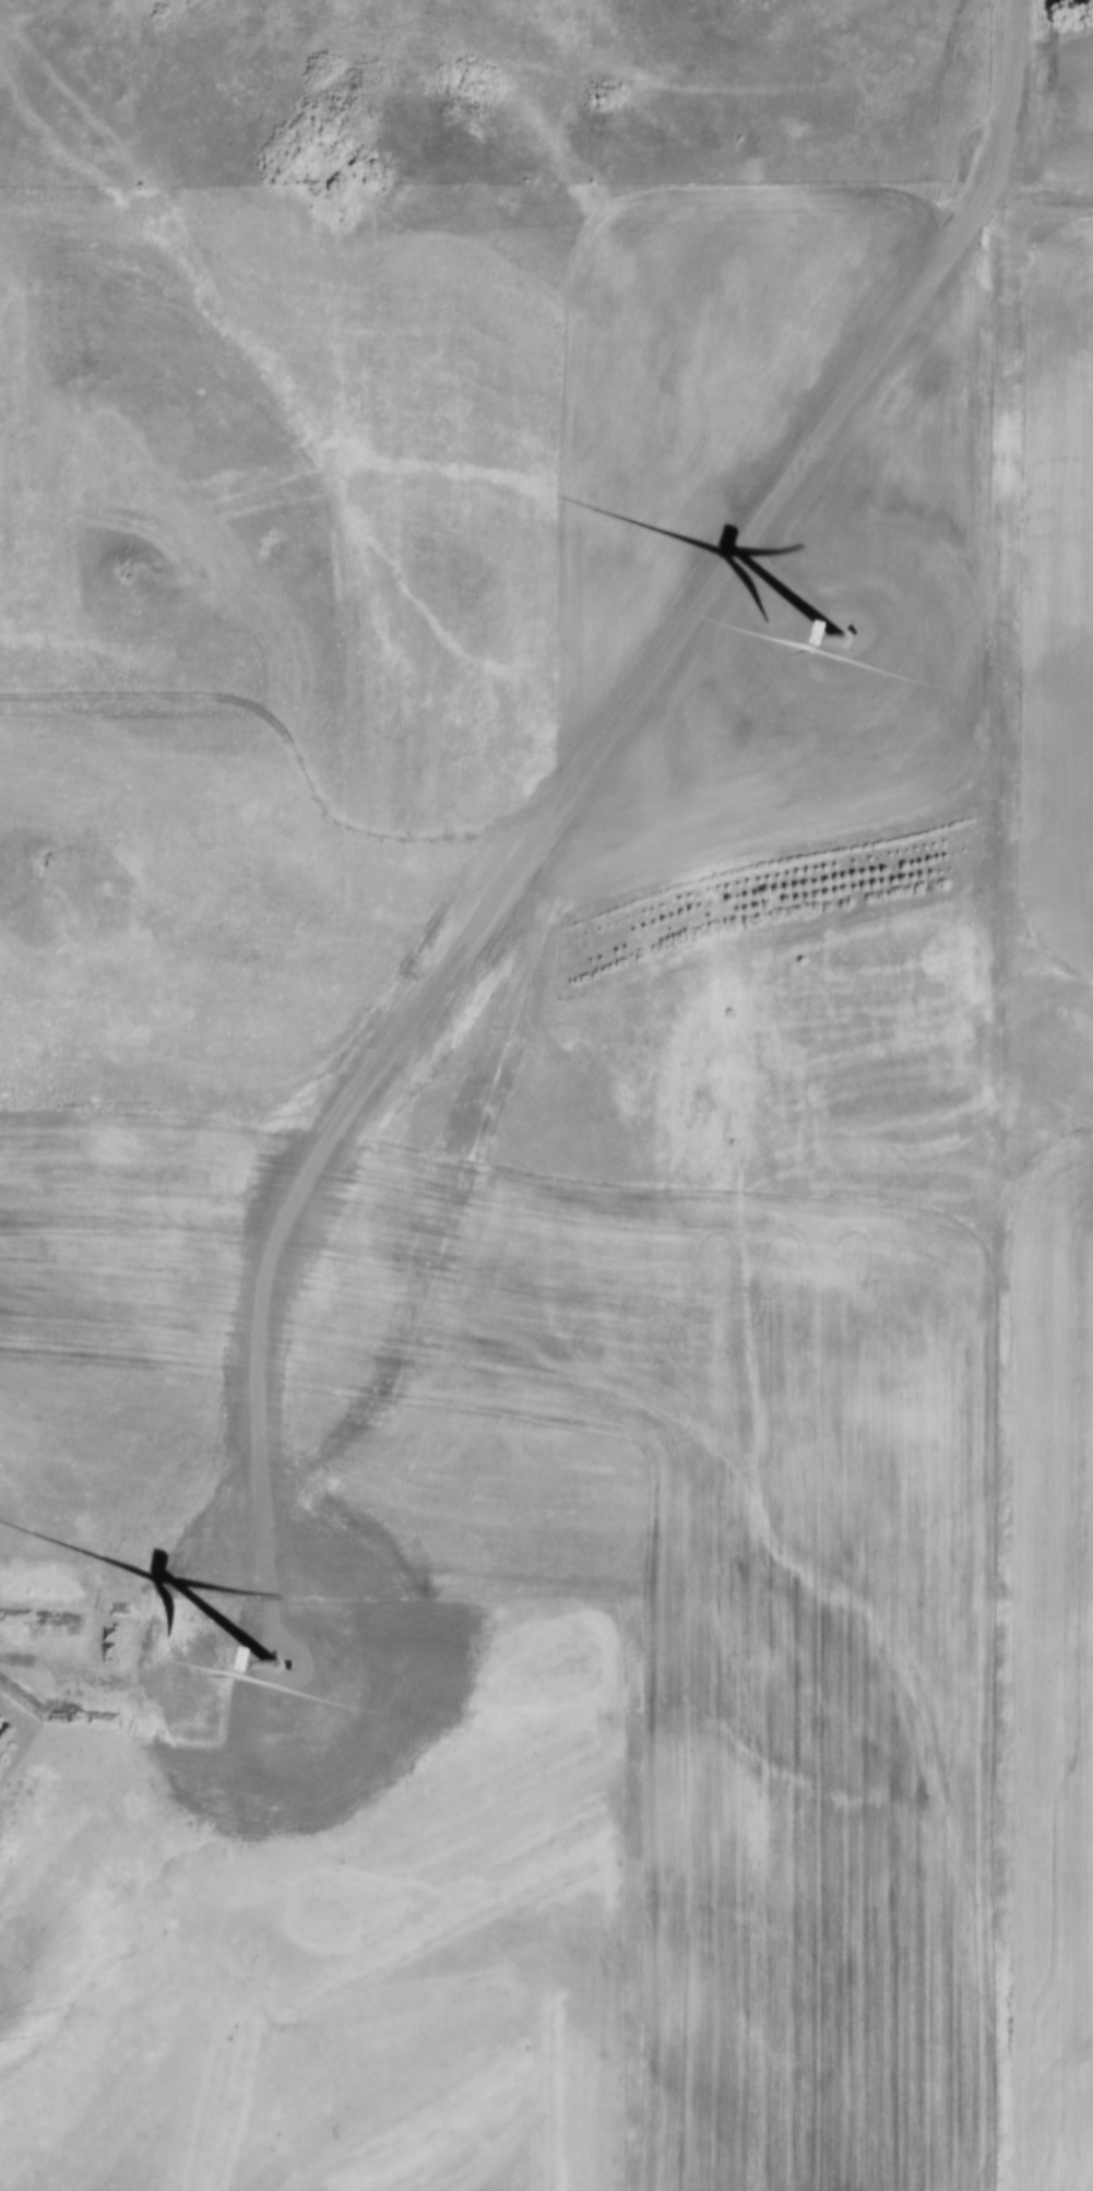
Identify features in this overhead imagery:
road: (1045, 192)
wind turbine: (839, 643)
road: (598, 759)
wind turbine: (268, 1665)

